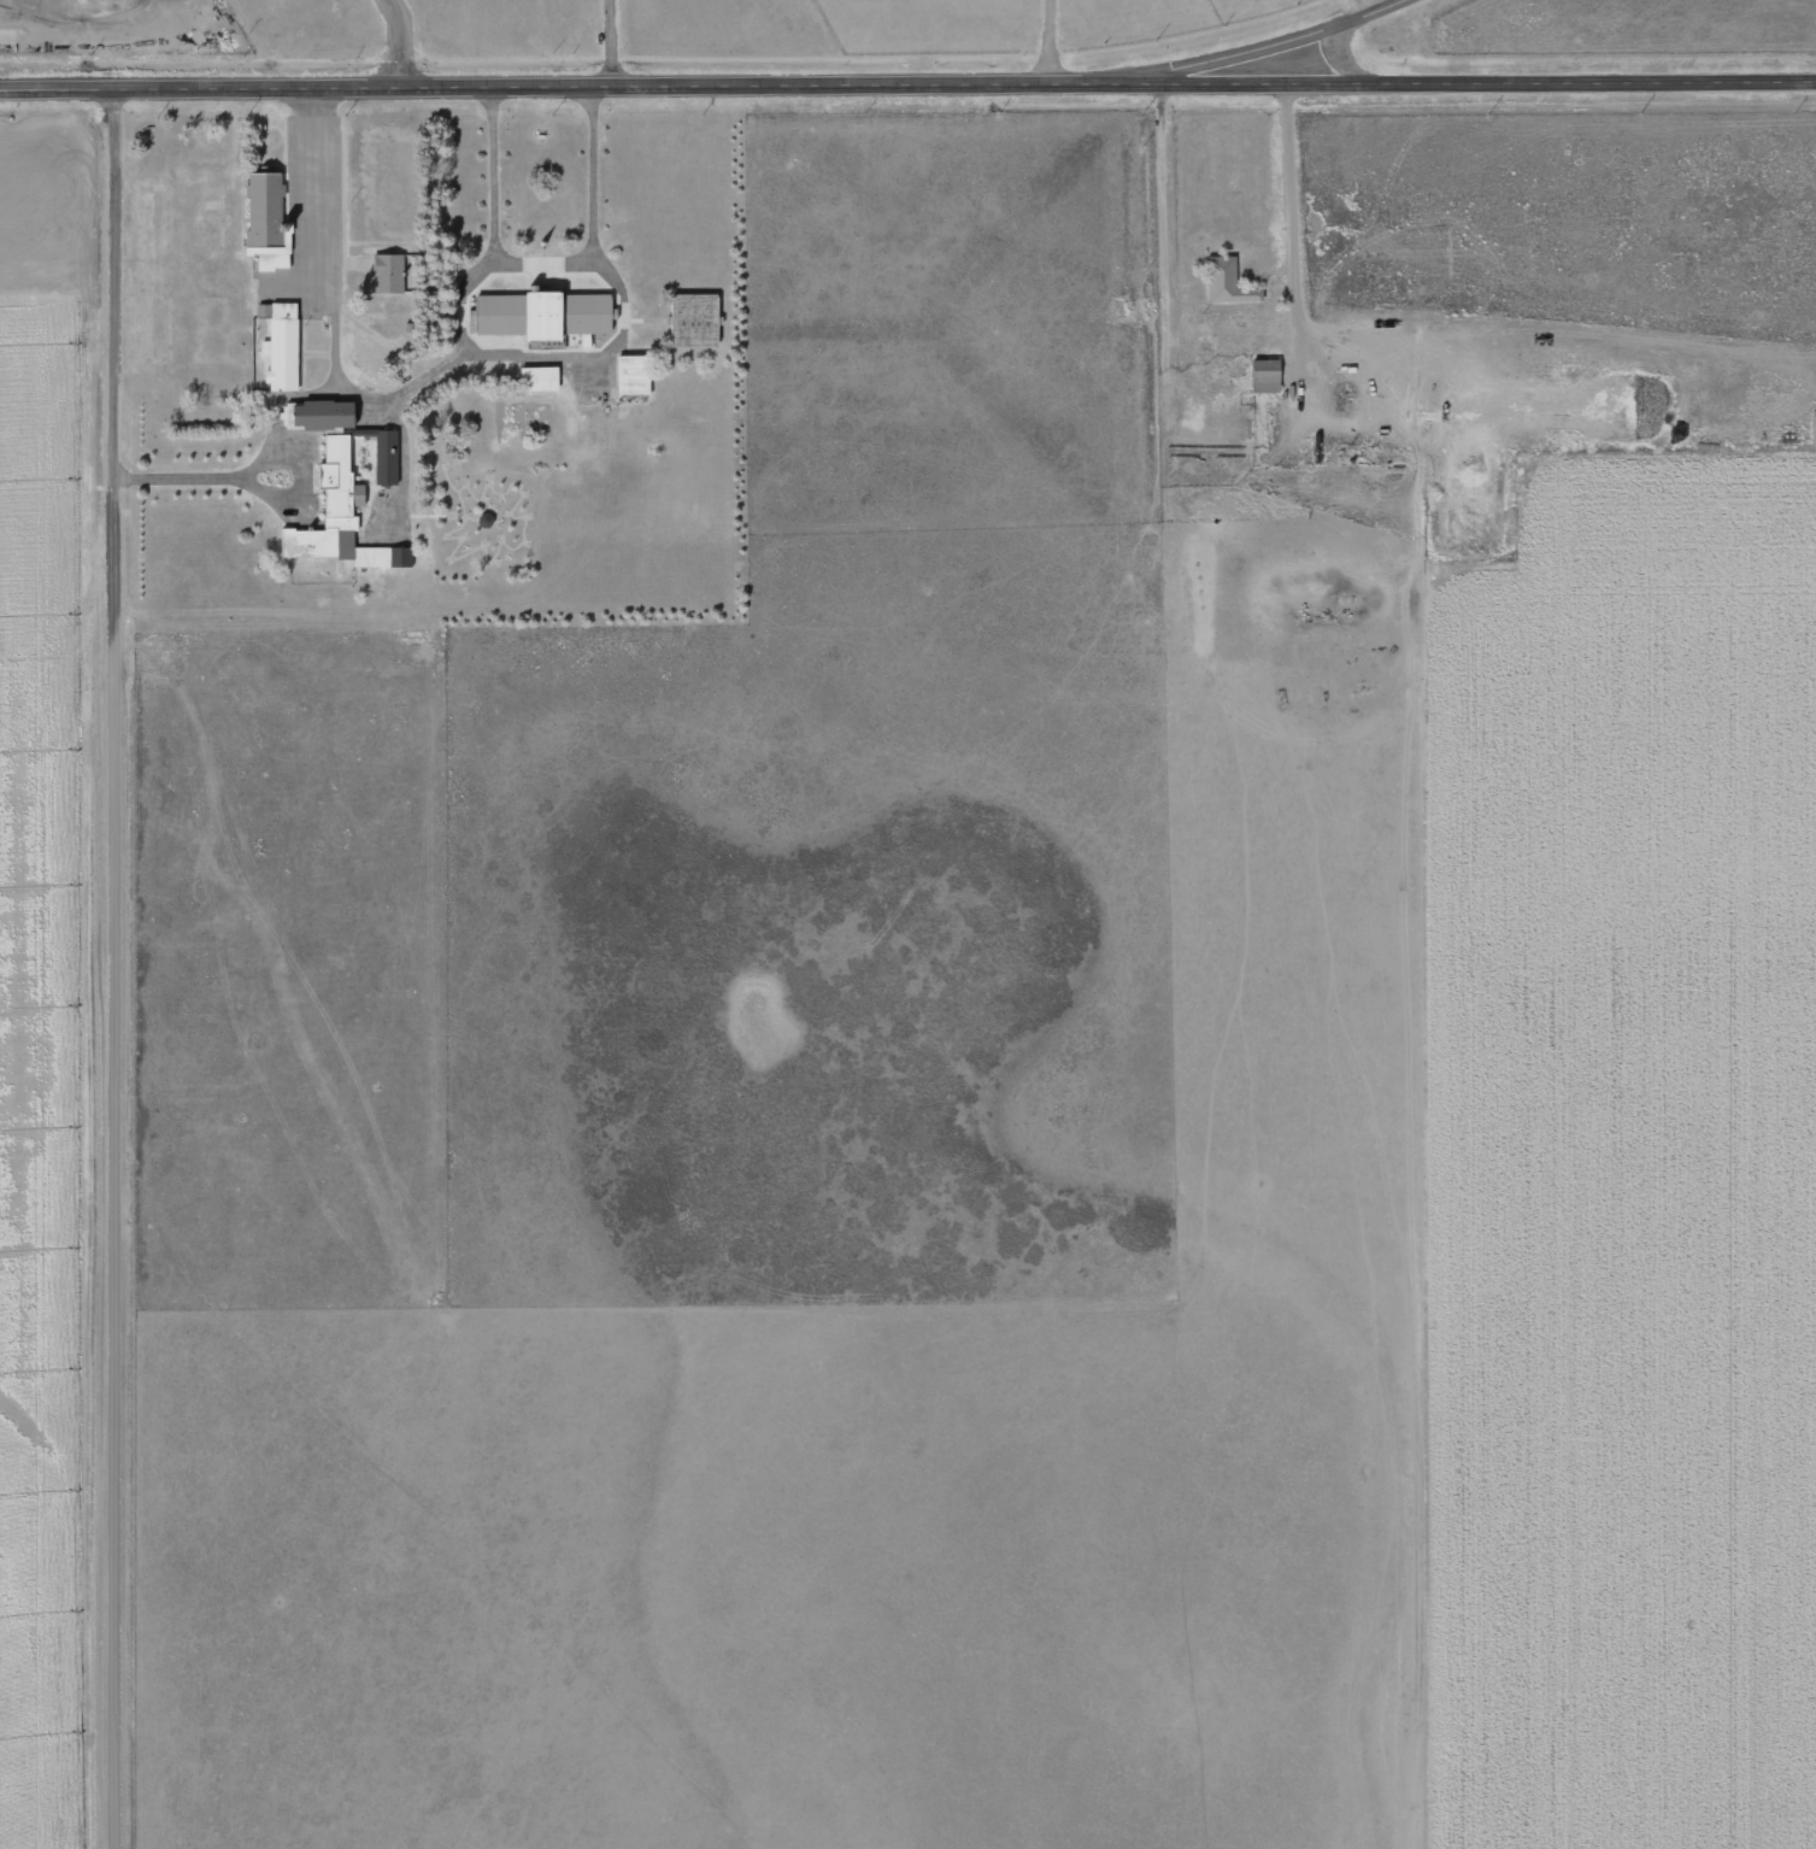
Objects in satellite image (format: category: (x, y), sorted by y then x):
road: (393, 43)
road: (1268, 48)
road: (1341, 61)
road: (1473, 84)
road: (564, 88)
road: (311, 193)
building: (266, 218)
building: (387, 272)
building: (1226, 282)
building: (495, 315)
building: (564, 315)
building: (693, 319)
building: (280, 345)
building: (631, 375)
building: (539, 377)
building: (323, 415)
building: (339, 517)
road: (117, 968)

